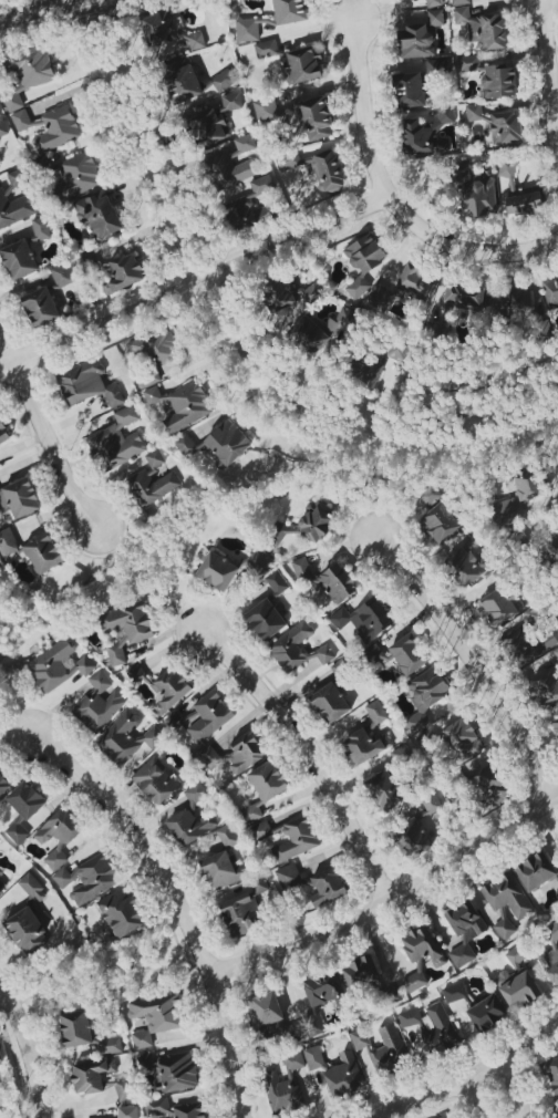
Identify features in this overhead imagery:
building: (461, 2)
building: (433, 3)
building: (290, 11)
road: (37, 13)
building: (435, 18)
building: (483, 29)
building: (247, 30)
building: (168, 31)
building: (416, 41)
building: (266, 49)
road: (549, 61)
building: (468, 63)
building: (301, 65)
building: (225, 80)
building: (182, 81)
building: (499, 81)
building: (410, 90)
building: (231, 102)
building: (265, 110)
building: (316, 118)
building: (23, 121)
building: (499, 125)
building: (3, 128)
building: (56, 128)
building: (208, 128)
building: (427, 133)
building: (245, 143)
building: (327, 170)
building: (229, 172)
building: (76, 176)
building: (265, 184)
building: (519, 193)
building: (479, 197)
road: (387, 200)
building: (14, 203)
road: (179, 214)
building: (99, 215)
building: (246, 215)
building: (41, 228)
building: (19, 259)
building: (363, 262)
building: (123, 273)
building: (62, 275)
building: (416, 282)
road: (193, 287)
building: (550, 291)
building: (287, 296)
building: (465, 296)
building: (378, 297)
building: (41, 308)
building: (311, 333)
road: (236, 335)
road: (9, 342)
building: (152, 348)
building: (397, 351)
building: (366, 373)
building: (87, 384)
building: (182, 404)
park: (477, 412)
road: (425, 417)
building: (3, 433)
building: (116, 442)
road: (556, 442)
building: (218, 444)
road: (56, 446)
building: (154, 458)
building: (151, 487)
building: (20, 498)
building: (517, 499)
building: (314, 522)
building: (440, 522)
building: (518, 538)
building: (8, 542)
building: (551, 547)
building: (43, 552)
building: (259, 560)
building: (464, 566)
building: (217, 571)
road: (153, 577)
building: (327, 579)
building: (277, 582)
building: (497, 608)
building: (366, 619)
building: (266, 620)
building: (125, 629)
building: (526, 645)
building: (297, 650)
building: (373, 654)
building: (409, 654)
road: (473, 658)
building: (58, 665)
building: (135, 673)
building: (546, 686)
building: (169, 690)
building: (330, 703)
building: (97, 705)
building: (375, 712)
building: (209, 716)
road: (14, 721)
building: (556, 725)
building: (126, 738)
building: (463, 739)
building: (363, 746)
building: (245, 753)
road: (312, 753)
building: (401, 754)
building: (209, 757)
building: (155, 780)
building: (4, 784)
building: (492, 784)
building: (263, 788)
building: (384, 789)
building: (23, 809)
building: (192, 818)
building: (261, 829)
building: (58, 836)
building: (227, 836)
building: (296, 839)
building: (223, 870)
building: (536, 871)
building: (289, 876)
building: (89, 878)
building: (31, 887)
building: (327, 887)
building: (507, 896)
road: (392, 900)
road: (177, 902)
building: (241, 909)
building: (121, 912)
building: (497, 914)
building: (505, 929)
building: (27, 931)
building: (465, 931)
building: (422, 945)
building: (551, 954)
building: (516, 955)
road: (99, 970)
park: (102, 971)
building: (361, 973)
building: (415, 981)
building: (323, 990)
building: (518, 990)
building: (455, 992)
road: (2, 994)
building: (488, 1013)
building: (155, 1016)
building: (410, 1017)
building: (75, 1028)
building: (440, 1031)
building: (111, 1045)
building: (383, 1047)
road: (28, 1048)
building: (1, 1058)
building: (313, 1058)
building: (170, 1070)
building: (551, 1072)
building: (91, 1075)
building: (344, 1076)
road: (472, 1076)
building: (285, 1086)
building: (123, 1087)
road: (514, 1088)
road: (474, 1099)
building: (157, 1106)
building: (189, 1110)
building: (127, 1112)
building: (557, 1116)
building: (443, 1117)

